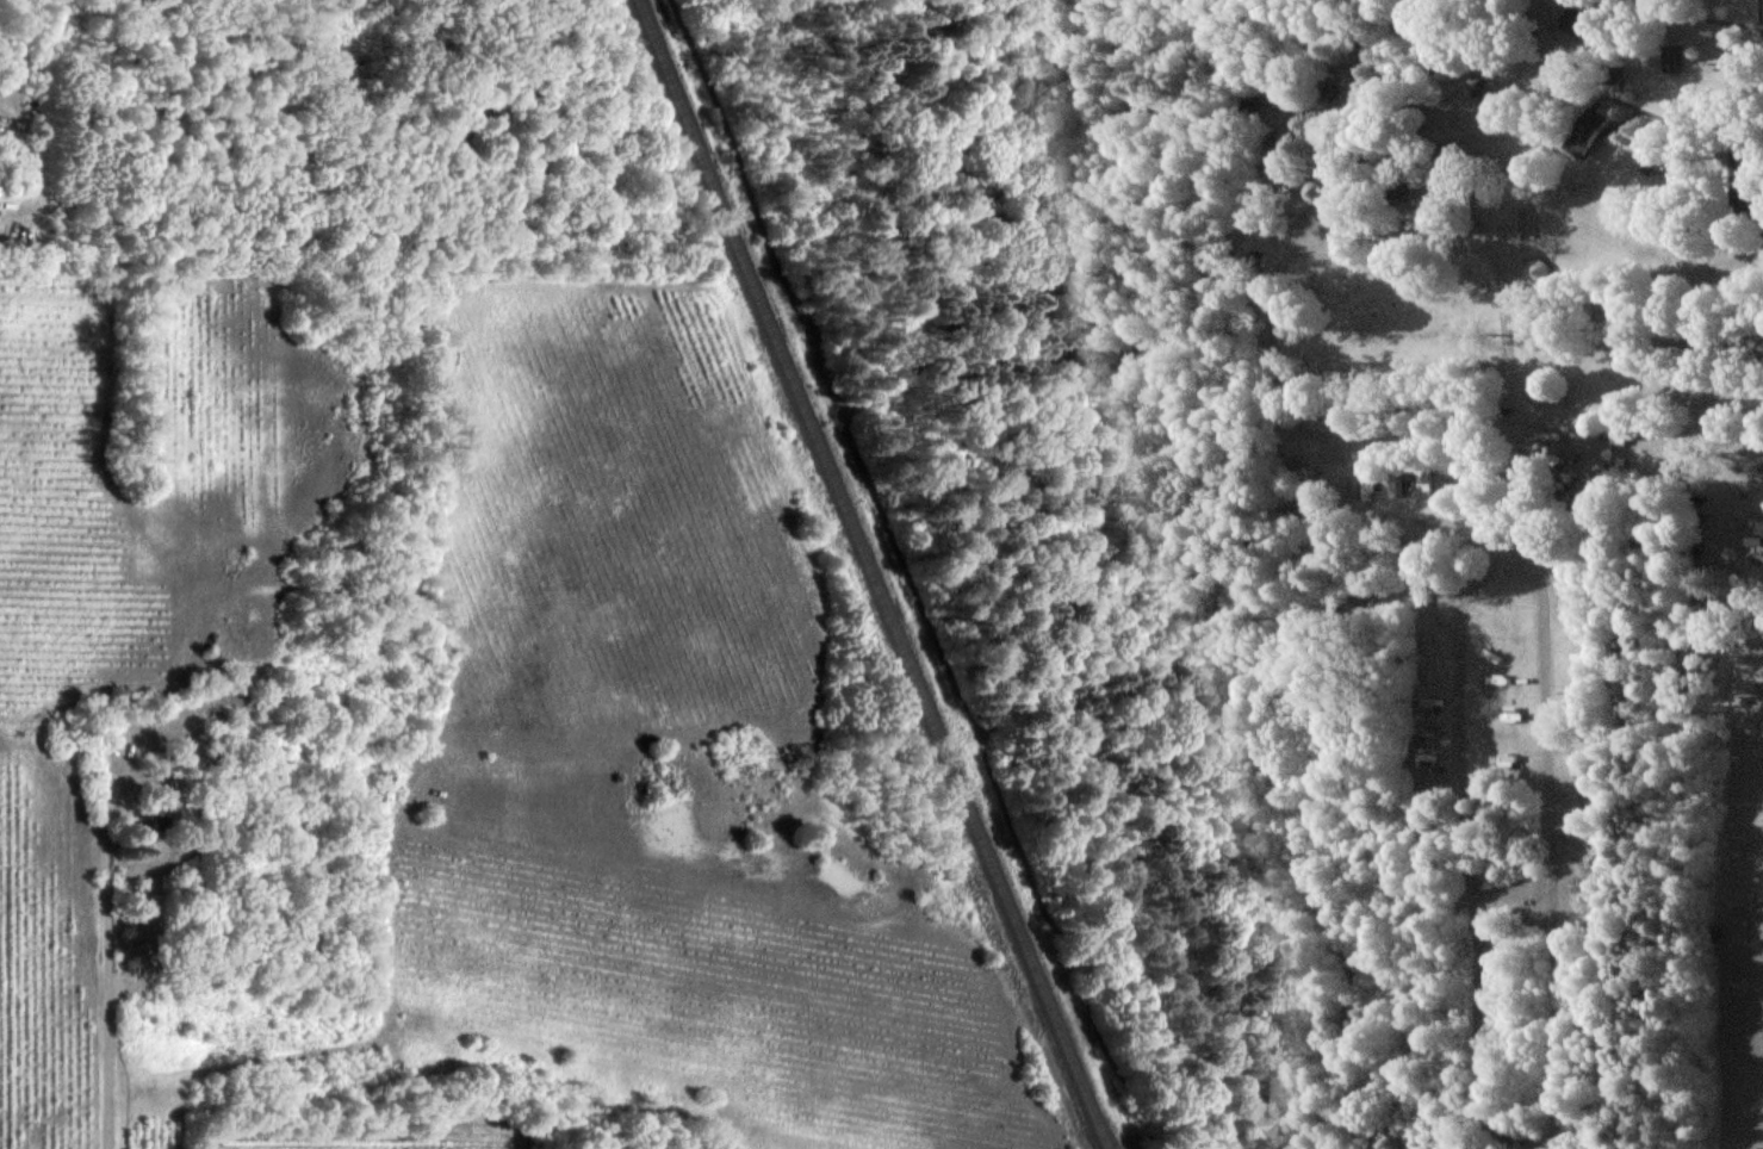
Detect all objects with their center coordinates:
building: (1571, 21)
building: (1671, 58)
building: (1585, 132)
building: (1397, 191)
road: (1281, 261)
road: (1639, 427)
railway: (870, 574)
road: (108, 957)

